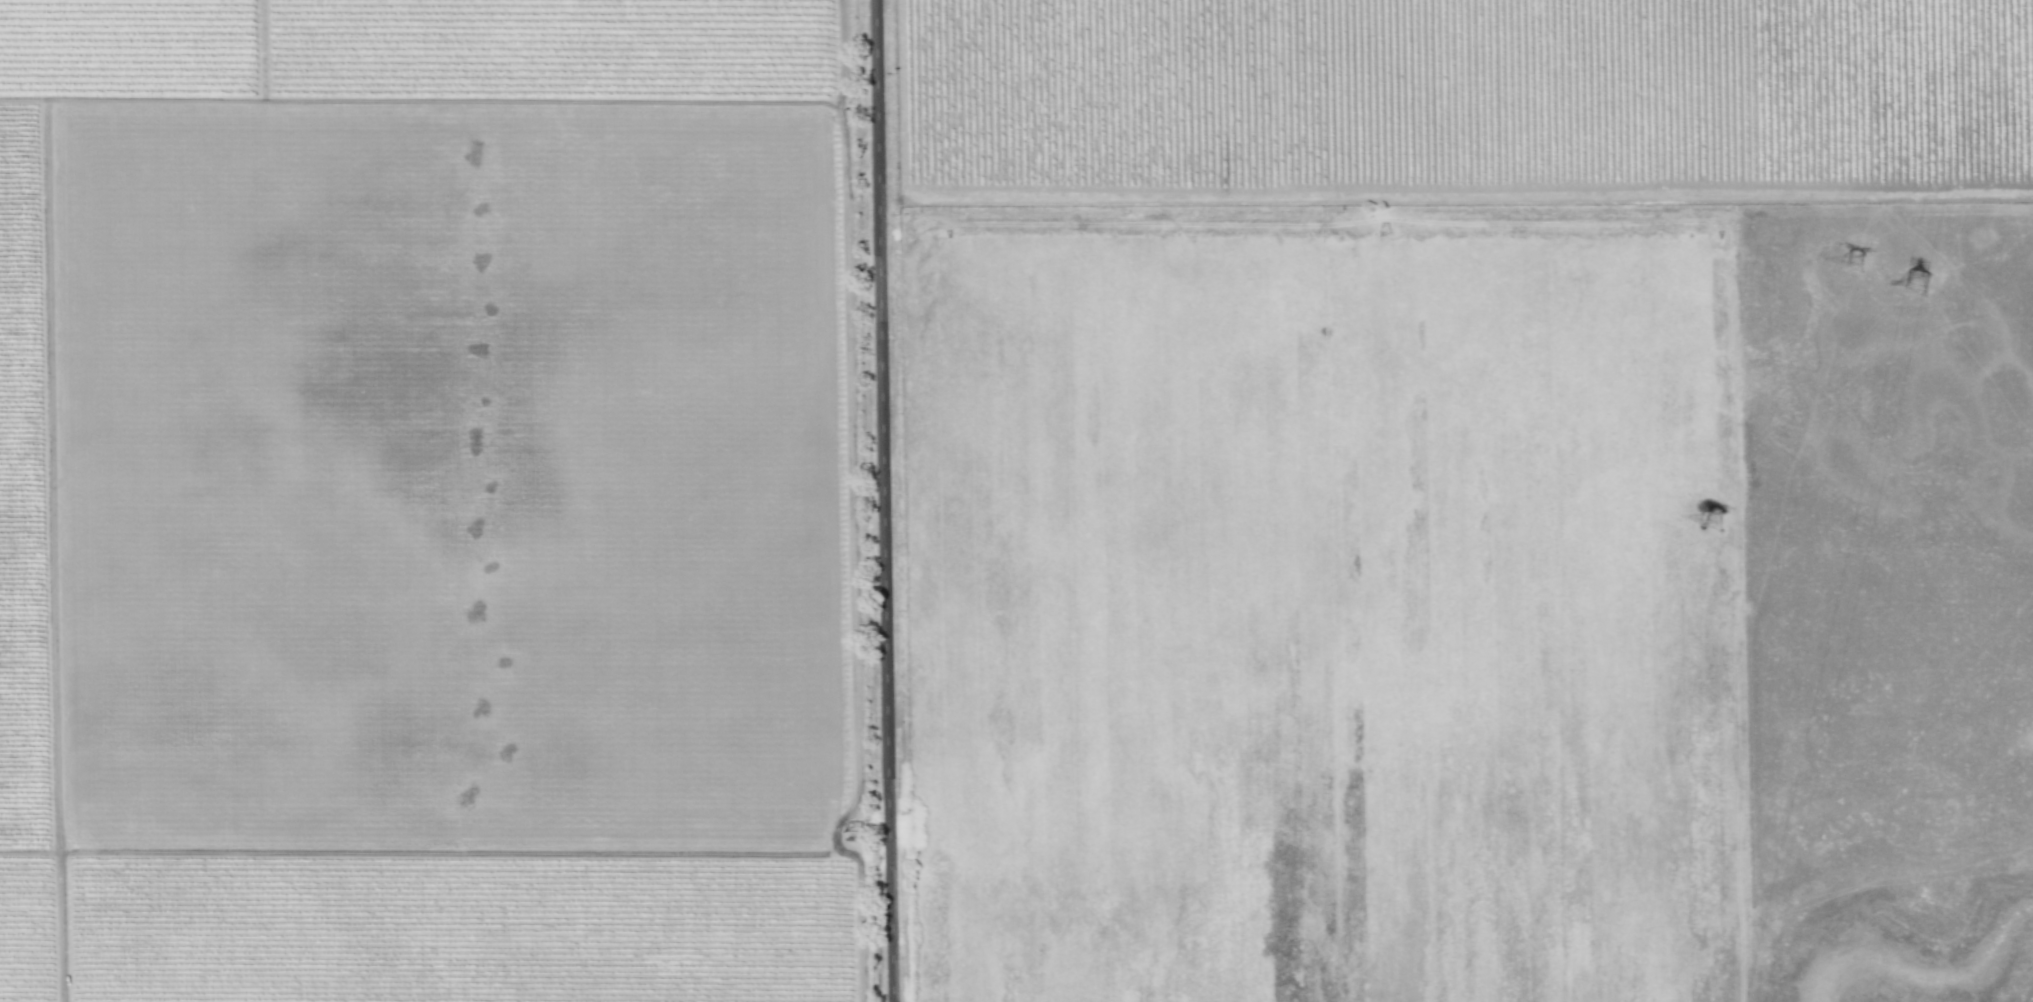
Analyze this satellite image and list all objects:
power tower: (1849, 254)
power tower: (1926, 272)
road: (884, 501)
crop: (1016, 501)
power tower: (1716, 522)

